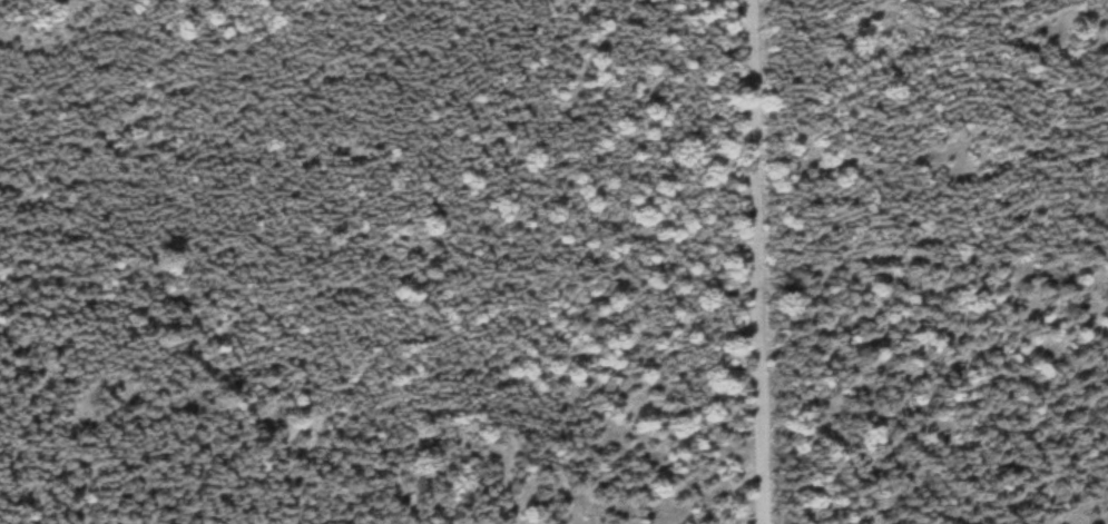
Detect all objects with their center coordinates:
road: (764, 261)

